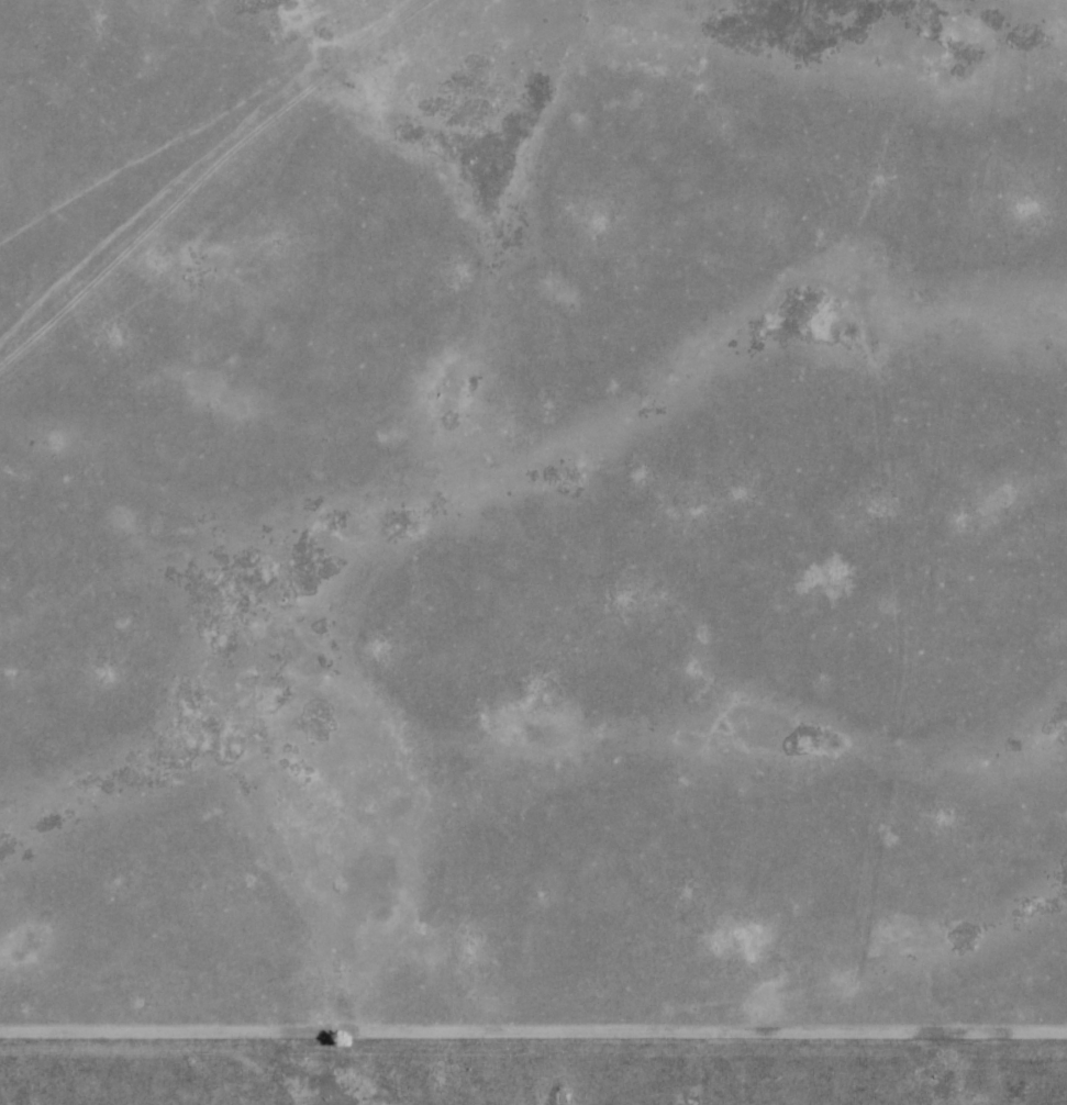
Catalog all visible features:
road: (204, 183)

